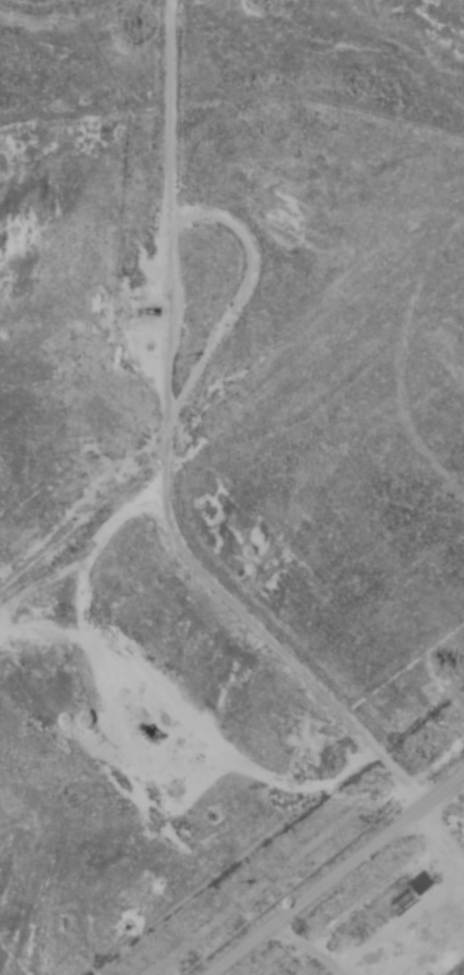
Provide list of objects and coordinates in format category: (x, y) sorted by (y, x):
road: (243, 455)
road: (231, 494)
road: (329, 863)

